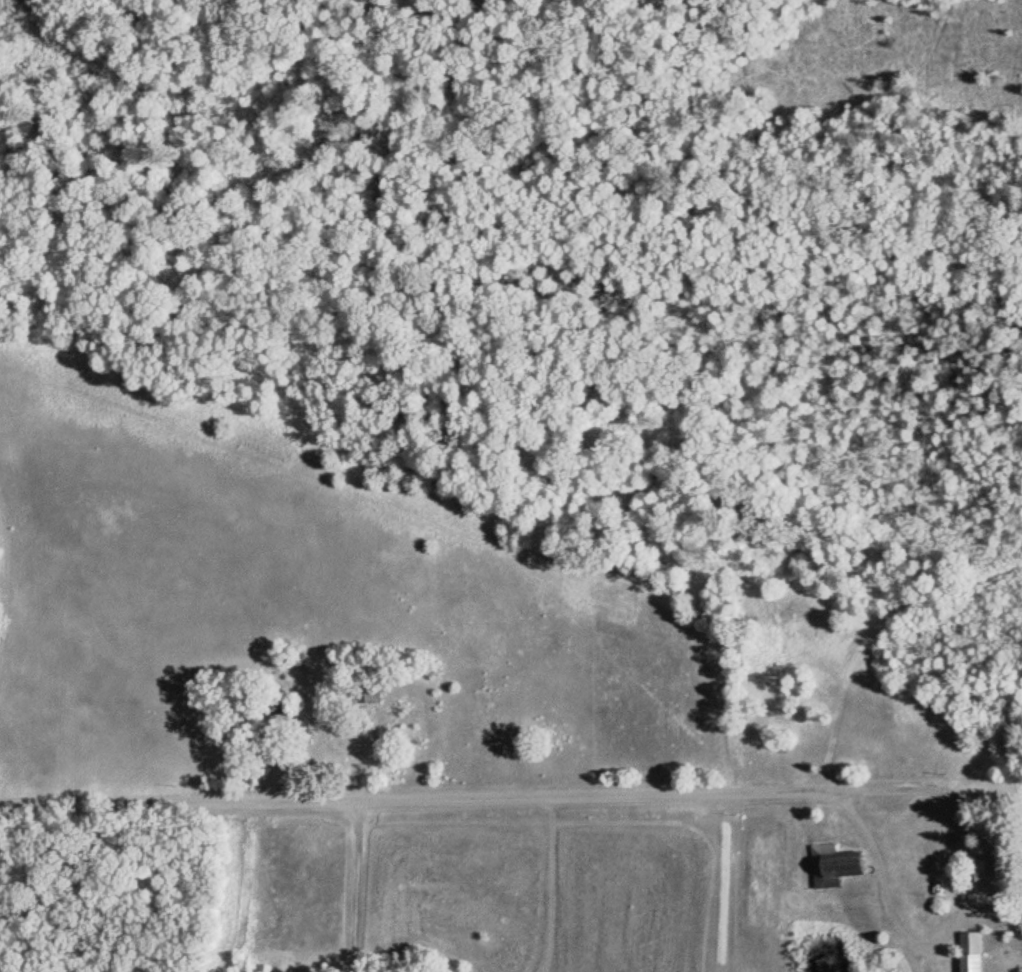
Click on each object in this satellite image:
building: (371, 692)
road: (447, 792)
building: (839, 861)
building: (976, 951)

